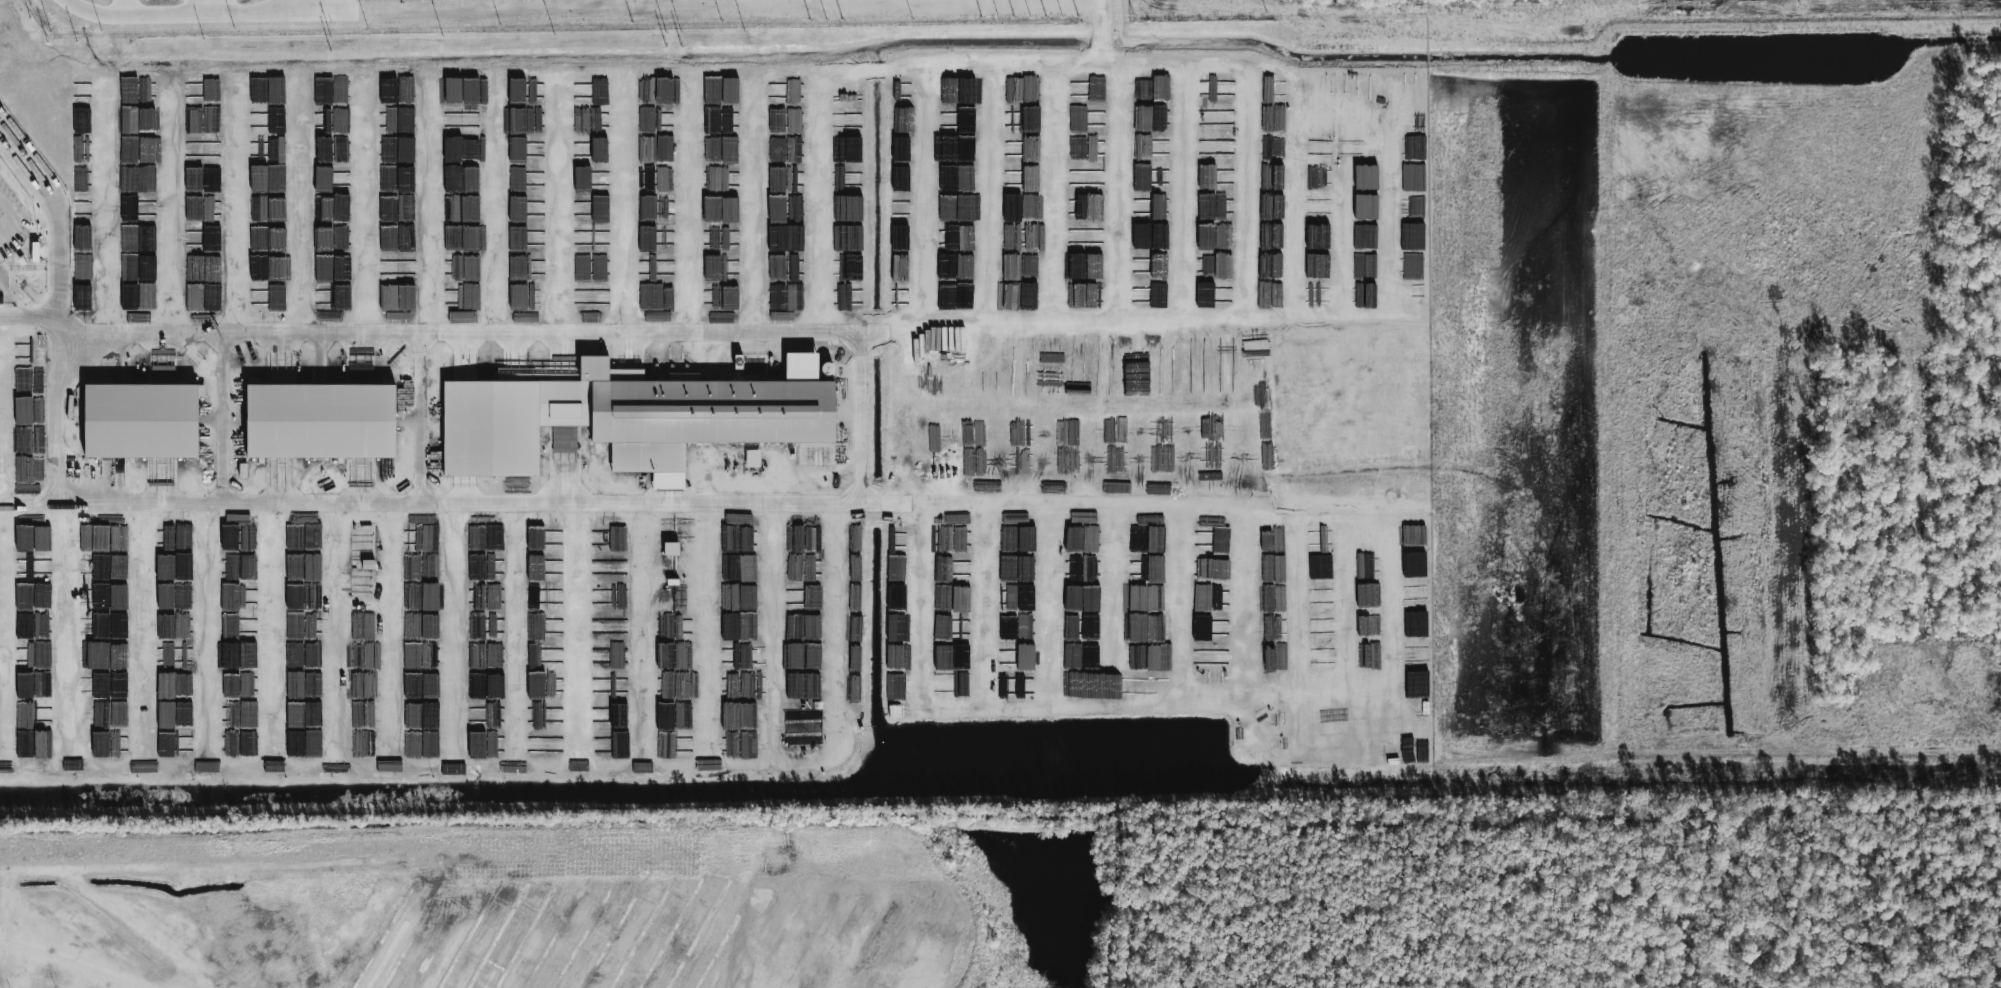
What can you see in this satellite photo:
road: (181, 13)
road: (1102, 33)
road: (1248, 167)
road: (6, 206)
road: (7, 224)
road: (57, 238)
building: (514, 368)
road: (58, 416)
building: (630, 417)
building: (318, 418)
building: (141, 420)
road: (862, 436)
building: (752, 458)
road: (191, 869)
road: (8, 897)

